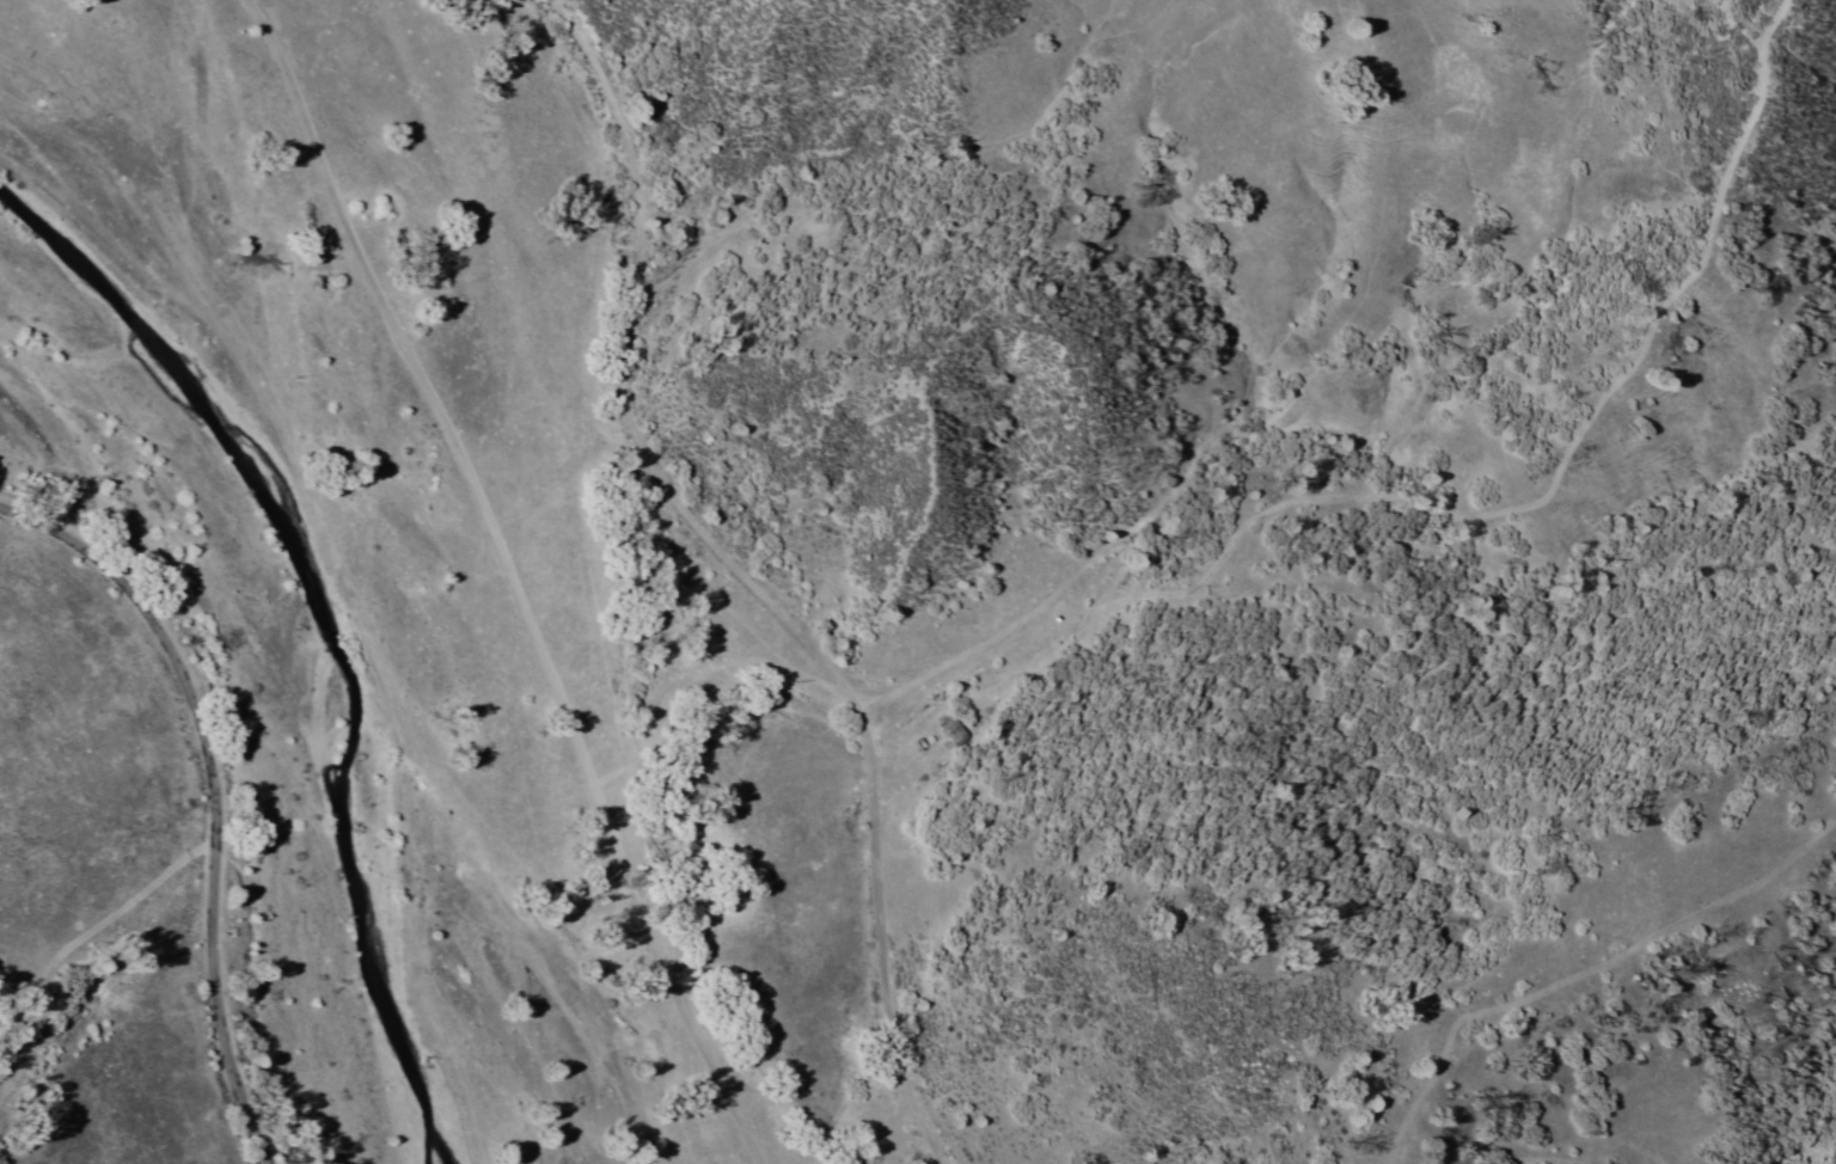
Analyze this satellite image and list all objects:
road: (741, 578)
river: (253, 655)
road: (212, 794)

